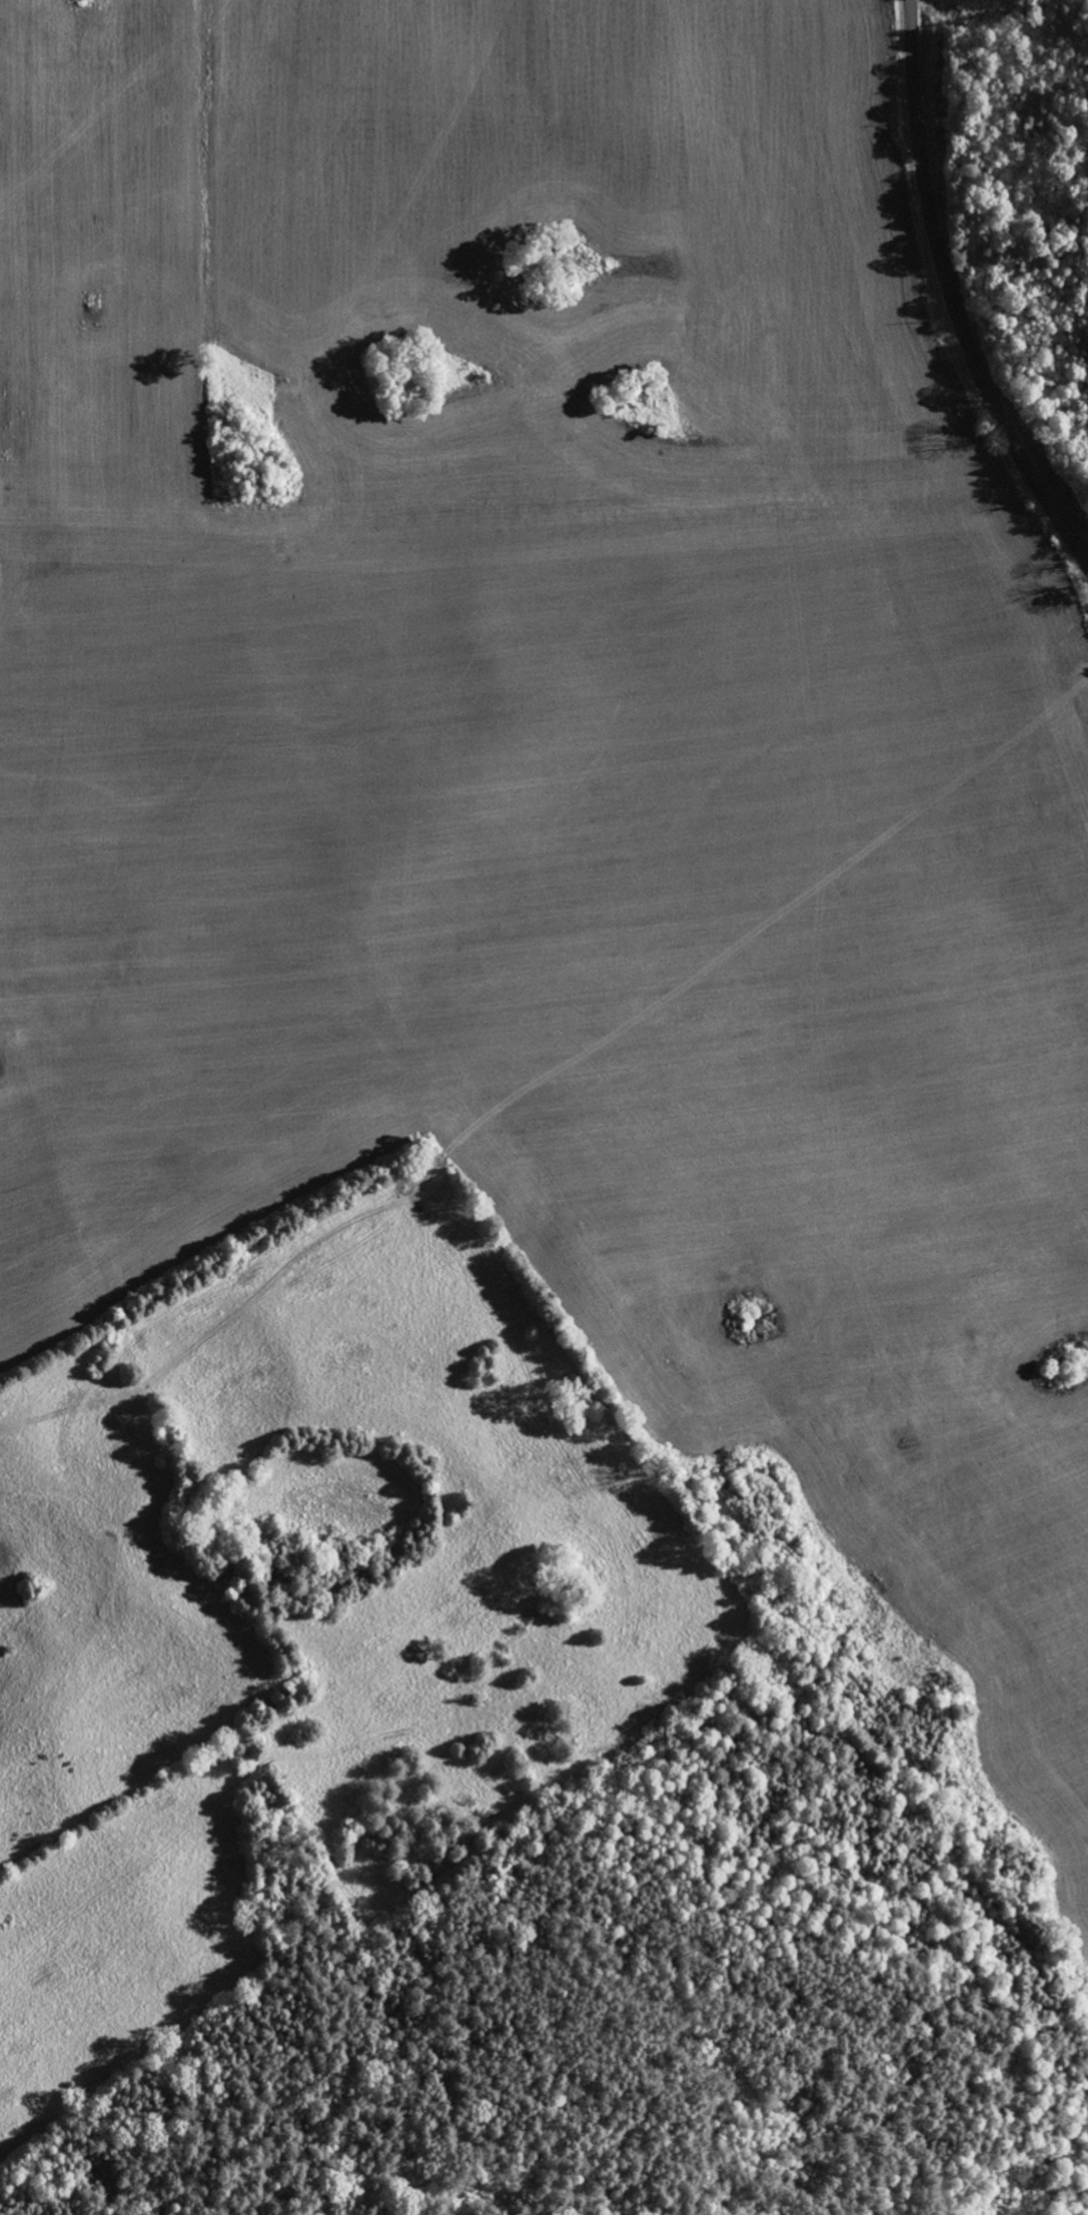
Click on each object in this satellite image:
road: (953, 294)

